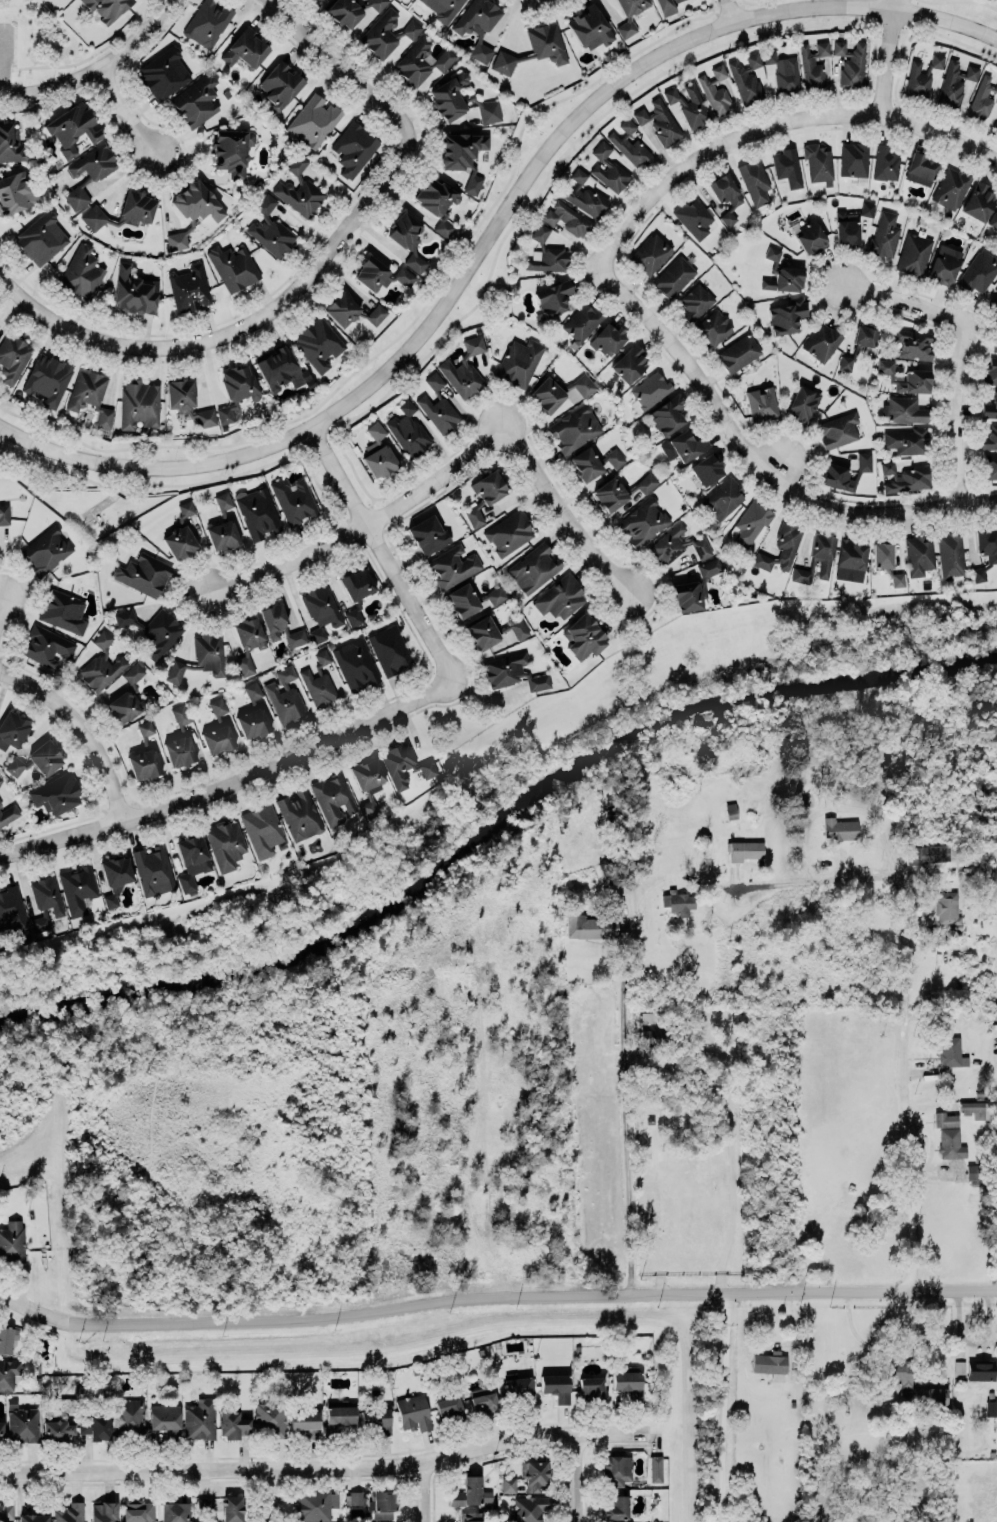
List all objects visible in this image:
road: (960, 0)
building: (631, 4)
building: (666, 6)
building: (107, 7)
building: (445, 8)
building: (349, 9)
road: (733, 9)
building: (479, 15)
building: (207, 22)
building: (590, 25)
building: (626, 28)
building: (387, 32)
building: (481, 46)
building: (245, 47)
building: (534, 48)
building: (822, 48)
road: (86, 55)
road: (885, 57)
building: (416, 59)
road: (342, 63)
building: (850, 63)
building: (810, 68)
building: (163, 71)
building: (783, 71)
road: (97, 73)
building: (922, 75)
building: (746, 78)
building: (281, 83)
building: (955, 83)
building: (715, 90)
building: (450, 95)
building: (981, 97)
building: (196, 101)
building: (689, 105)
road: (134, 107)
building: (489, 112)
road: (767, 119)
building: (314, 120)
building: (659, 120)
building: (995, 126)
building: (72, 128)
building: (629, 142)
building: (11, 144)
building: (354, 147)
building: (232, 148)
building: (601, 150)
building: (463, 153)
building: (854, 158)
building: (886, 161)
building: (94, 163)
building: (297, 164)
building: (818, 164)
building: (788, 165)
building: (921, 165)
building: (610, 175)
building: (754, 182)
building: (951, 187)
building: (16, 190)
building: (582, 194)
building: (725, 194)
building: (76, 196)
building: (299, 196)
building: (196, 200)
building: (438, 201)
building: (978, 201)
building: (121, 210)
building: (693, 216)
building: (567, 217)
building: (993, 218)
building: (850, 223)
road: (491, 224)
building: (271, 228)
building: (884, 234)
building: (811, 235)
building: (41, 238)
building: (407, 238)
building: (176, 240)
road: (499, 249)
building: (547, 252)
building: (650, 253)
building: (915, 253)
building: (232, 265)
building: (944, 265)
building: (81, 271)
building: (978, 271)
building: (380, 272)
building: (673, 276)
building: (189, 288)
building: (134, 292)
road: (899, 292)
building: (552, 299)
building: (695, 302)
building: (994, 307)
building: (351, 311)
building: (786, 316)
road: (243, 318)
building: (582, 321)
building: (714, 326)
building: (865, 336)
building: (608, 339)
building: (822, 340)
building: (317, 343)
building: (913, 344)
building: (994, 345)
building: (738, 353)
building: (13, 357)
building: (519, 361)
building: (845, 362)
building: (629, 363)
building: (465, 367)
building: (279, 368)
building: (990, 371)
building: (906, 376)
building: (48, 377)
building: (236, 388)
building: (648, 389)
building: (547, 390)
building: (89, 395)
building: (187, 401)
building: (437, 402)
building: (762, 402)
building: (803, 402)
building: (138, 404)
road: (964, 407)
building: (990, 407)
building: (904, 410)
building: (667, 413)
building: (574, 427)
building: (409, 428)
building: (377, 429)
building: (837, 429)
building: (990, 438)
building: (908, 439)
building: (687, 443)
building: (615, 458)
building: (381, 459)
road: (756, 461)
building: (585, 464)
building: (990, 466)
building: (707, 468)
building: (845, 473)
building: (904, 477)
building: (620, 489)
building: (486, 493)
road: (561, 497)
building: (723, 497)
building: (294, 499)
building: (223, 501)
building: (4, 513)
building: (259, 513)
road: (368, 520)
building: (643, 520)
building: (752, 520)
building: (425, 528)
building: (509, 529)
building: (181, 532)
building: (222, 535)
building: (434, 542)
building: (677, 544)
building: (781, 546)
building: (47, 549)
building: (985, 549)
building: (949, 551)
road: (384, 552)
building: (881, 554)
building: (851, 555)
building: (918, 555)
building: (817, 557)
building: (453, 565)
building: (534, 566)
building: (709, 567)
building: (143, 574)
building: (898, 579)
building: (357, 583)
building: (495, 595)
building: (688, 596)
building: (561, 597)
building: (462, 600)
road: (1, 606)
building: (321, 610)
building: (63, 611)
building: (353, 616)
building: (281, 624)
building: (153, 629)
building: (493, 630)
building: (584, 636)
building: (248, 641)
building: (47, 644)
building: (389, 649)
building: (200, 657)
building: (322, 657)
building: (101, 662)
building: (356, 663)
building: (513, 672)
building: (318, 687)
building: (128, 694)
building: (284, 696)
building: (217, 706)
building: (253, 713)
road: (82, 726)
building: (12, 729)
building: (217, 739)
building: (180, 740)
building: (144, 754)
building: (38, 758)
building: (405, 763)
building: (1, 779)
road: (231, 781)
building: (368, 782)
building: (58, 793)
building: (333, 797)
road: (837, 808)
building: (730, 810)
building: (8, 814)
building: (300, 814)
river: (495, 825)
building: (262, 829)
building: (839, 829)
building: (226, 843)
building: (745, 849)
building: (926, 854)
building: (191, 860)
building: (153, 869)
building: (116, 875)
road: (774, 883)
building: (77, 888)
building: (46, 894)
building: (677, 901)
building: (947, 908)
building: (12, 910)
building: (39, 922)
building: (590, 926)
road: (697, 938)
building: (663, 1037)
building: (951, 1052)
road: (903, 1078)
road: (623, 1100)
building: (974, 1109)
building: (945, 1119)
road: (30, 1142)
building: (951, 1144)
road: (732, 1168)
building: (973, 1171)
road: (57, 1181)
building: (12, 1241)
road: (494, 1296)
road: (923, 1332)
building: (7, 1338)
road: (770, 1343)
building: (769, 1363)
building: (959, 1366)
building: (980, 1370)
building: (8, 1373)
building: (909, 1383)
building: (630, 1384)
building: (557, 1385)
building: (590, 1387)
building: (517, 1388)
building: (482, 1400)
building: (67, 1403)
building: (448, 1407)
road: (723, 1408)
building: (990, 1408)
building: (414, 1412)
building: (128, 1414)
building: (164, 1415)
building: (341, 1415)
building: (270, 1418)
building: (199, 1419)
building: (377, 1419)
building: (303, 1420)
building: (22, 1423)
building: (233, 1423)
building: (95, 1426)
building: (58, 1428)
building: (1, 1431)
road: (327, 1465)
building: (656, 1468)
building: (617, 1469)
building: (535, 1476)
road: (579, 1477)
building: (508, 1484)
road: (426, 1490)
building: (467, 1491)
road: (275, 1494)
building: (354, 1498)
building: (205, 1504)
building: (383, 1504)
building: (316, 1505)
building: (615, 1507)
building: (232, 1508)
building: (528, 1508)
building: (138, 1510)
building: (102, 1511)
building: (174, 1511)
building: (37, 1512)
building: (5, 1513)
building: (69, 1513)
building: (471, 1516)

